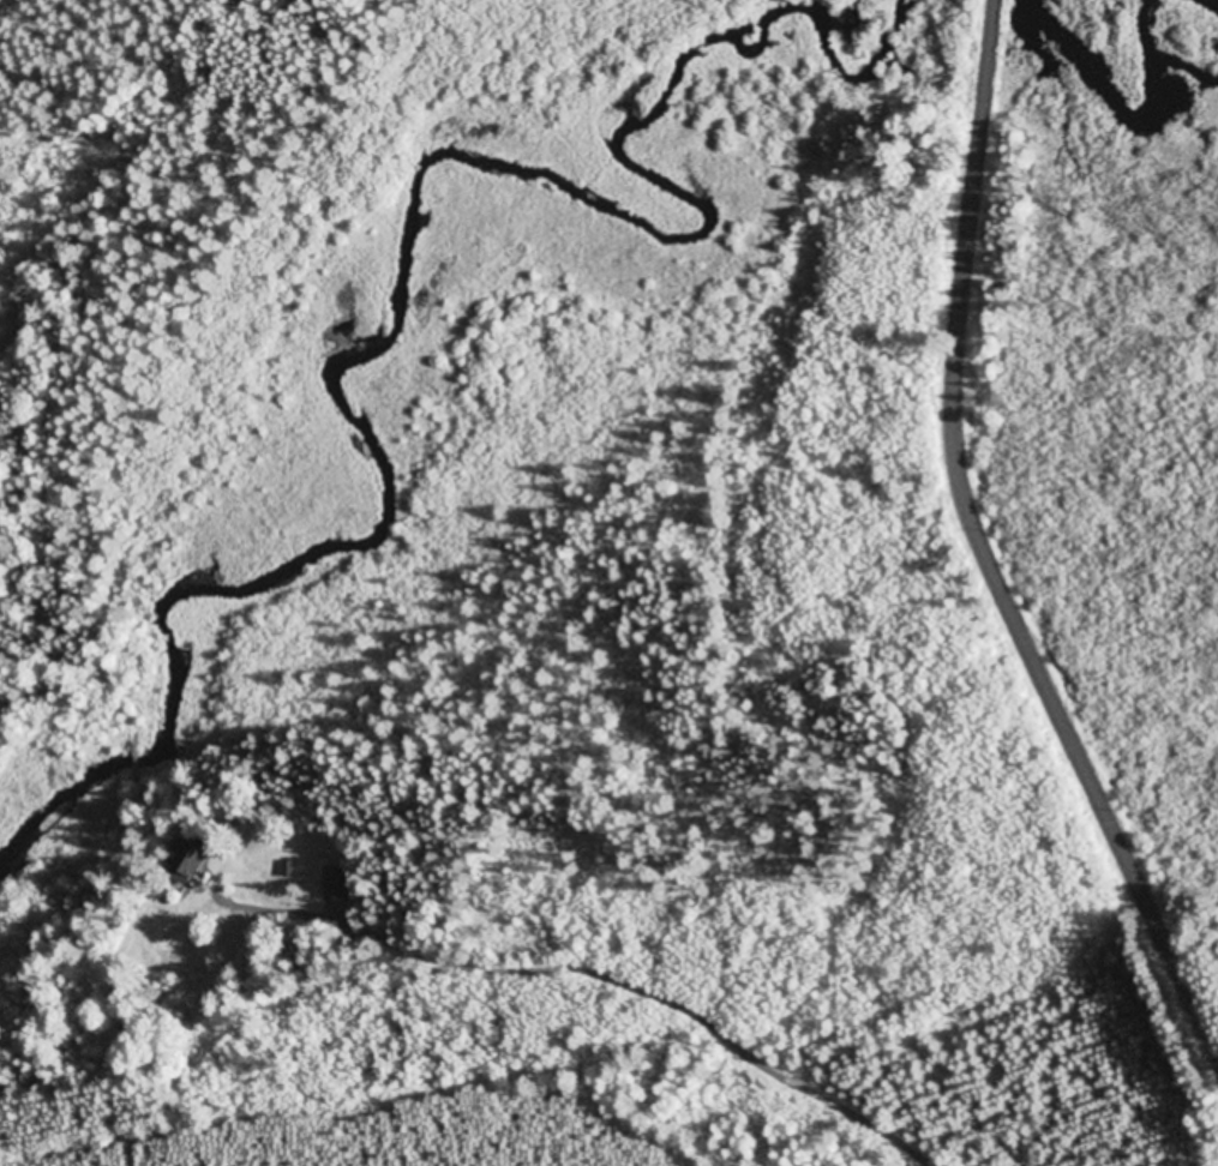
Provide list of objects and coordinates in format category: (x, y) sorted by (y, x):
road: (984, 549)
building: (186, 861)
building: (336, 884)

